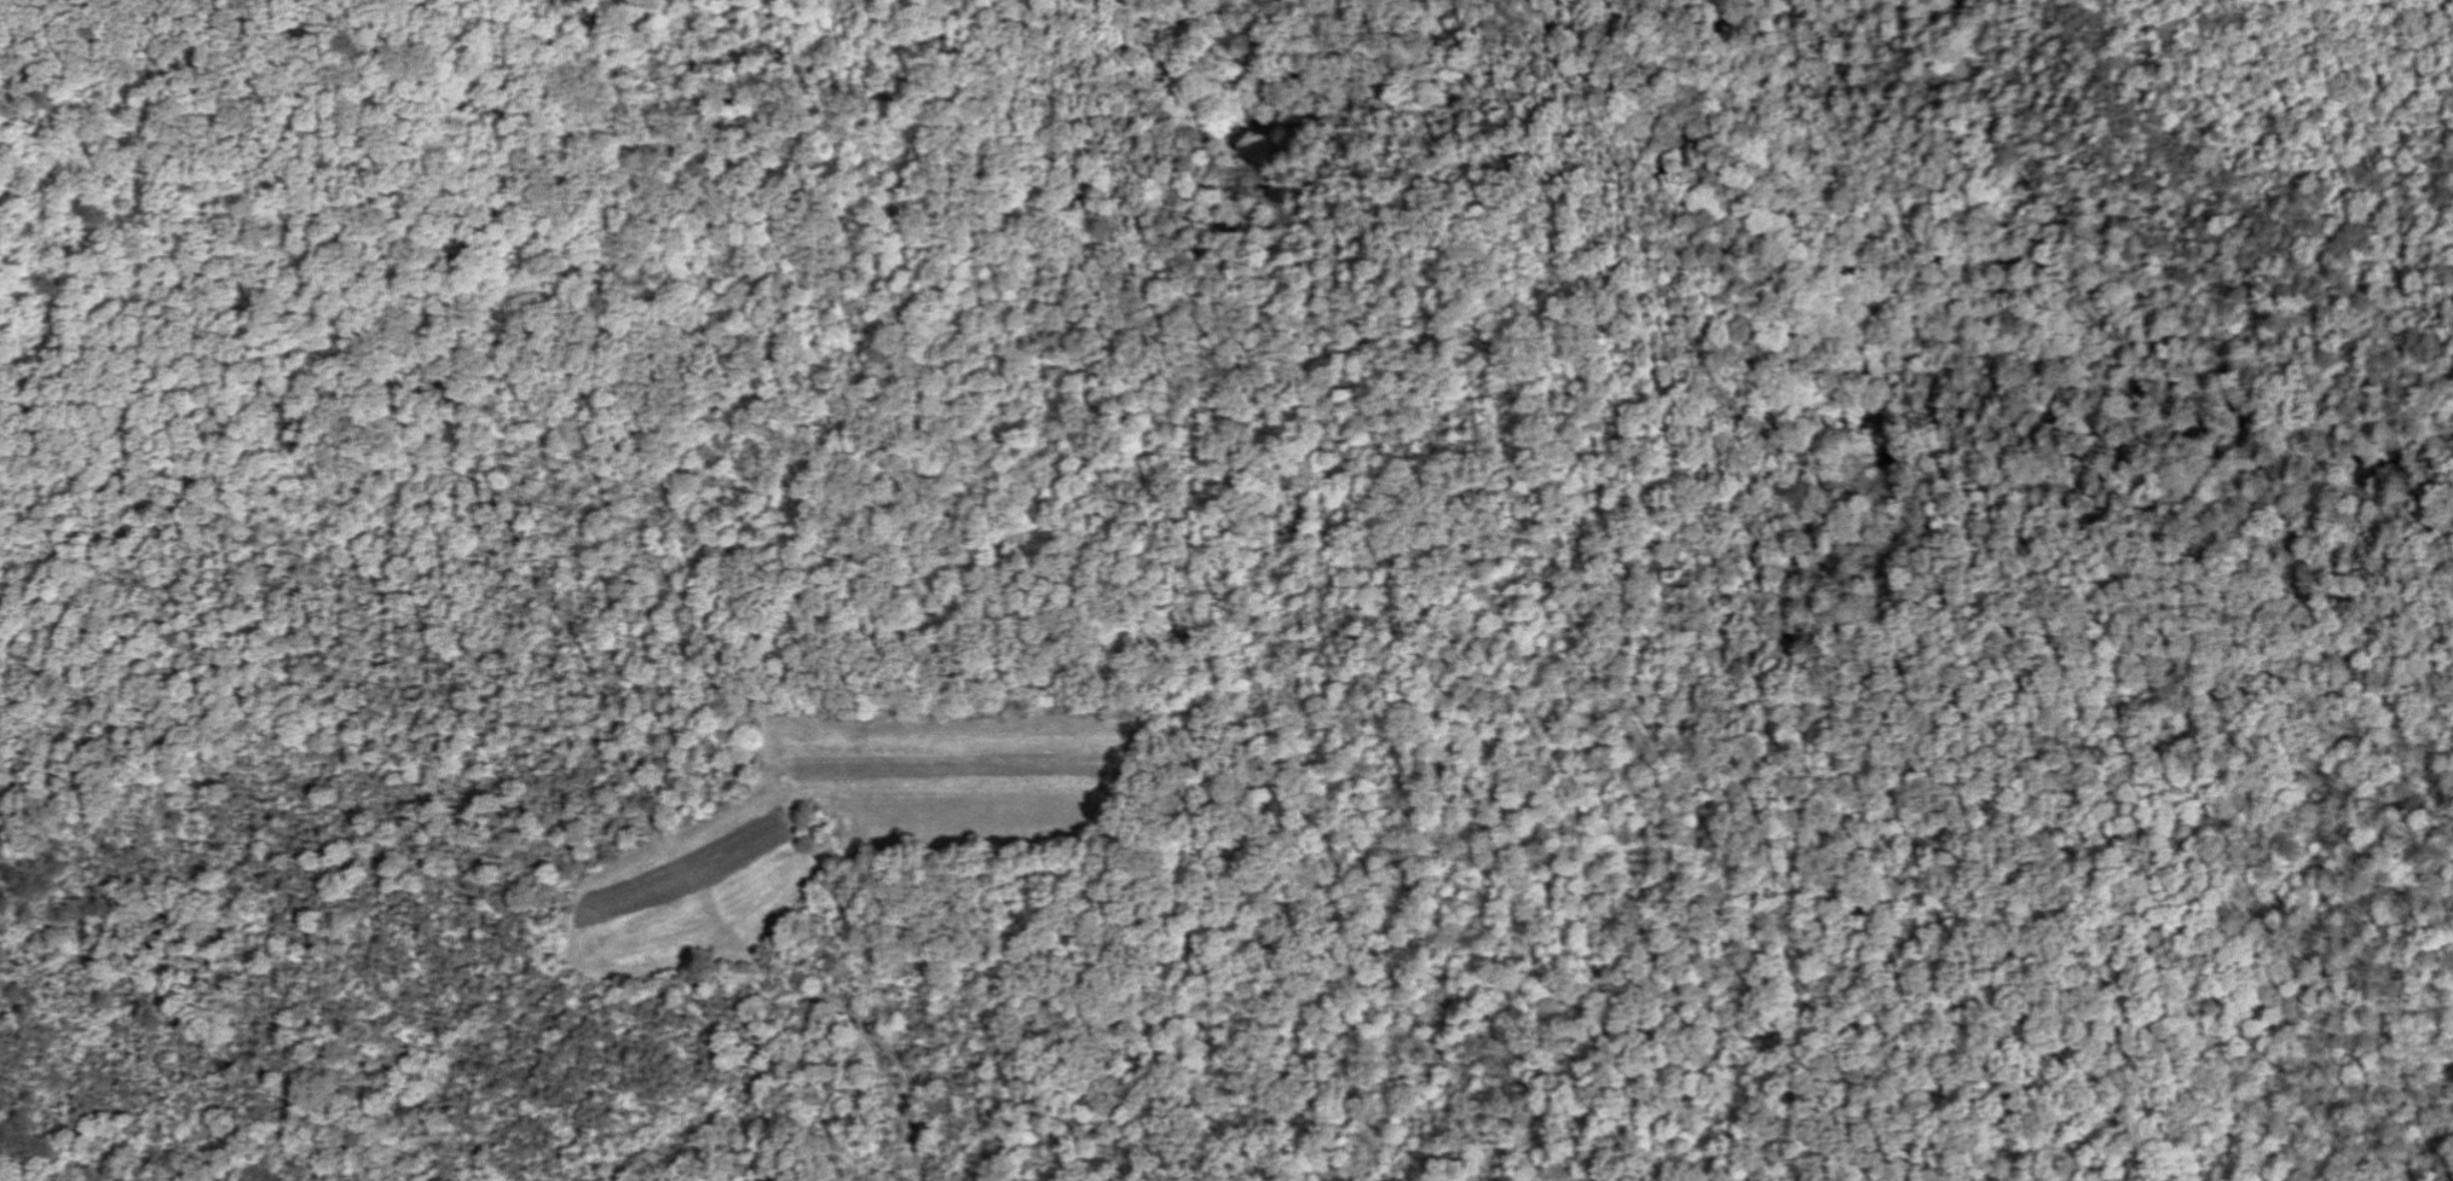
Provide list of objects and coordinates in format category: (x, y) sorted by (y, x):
park: (1689, 180)

